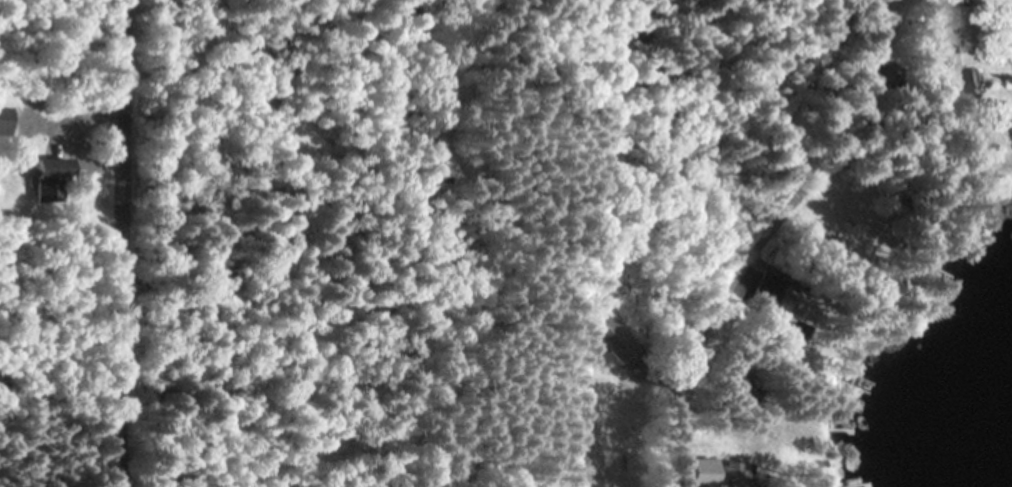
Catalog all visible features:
building: (954, 88)
building: (9, 120)
building: (63, 169)
road: (767, 240)
road: (130, 243)
building: (764, 292)
building: (780, 347)
building: (736, 476)

